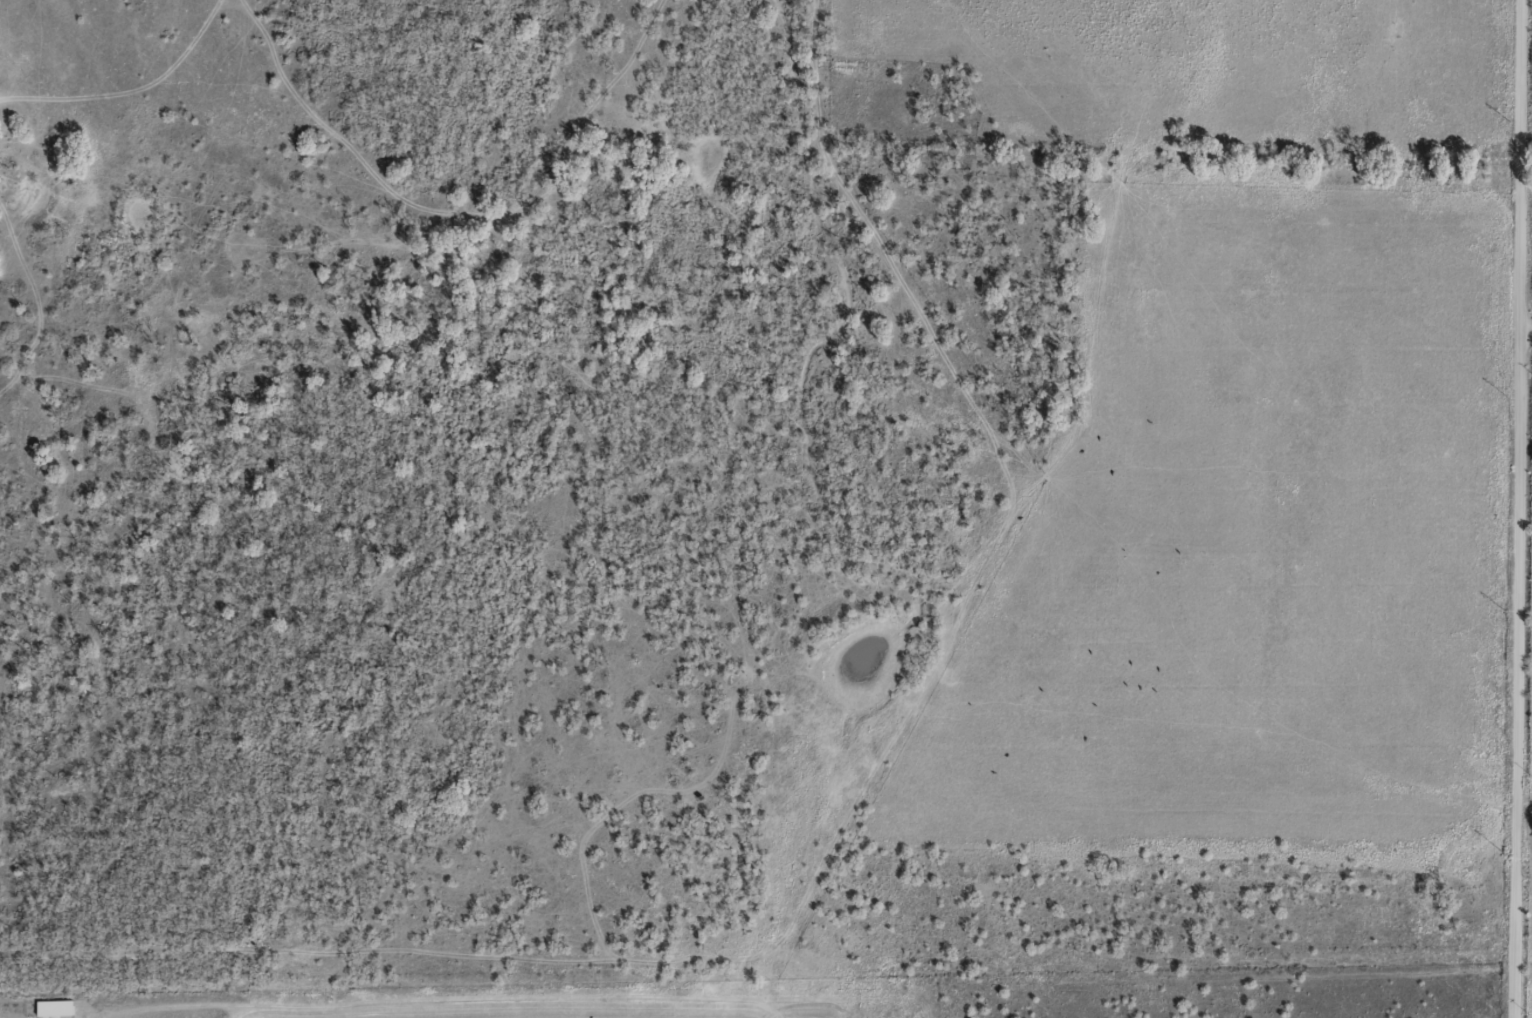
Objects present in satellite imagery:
road: (1531, 983)

